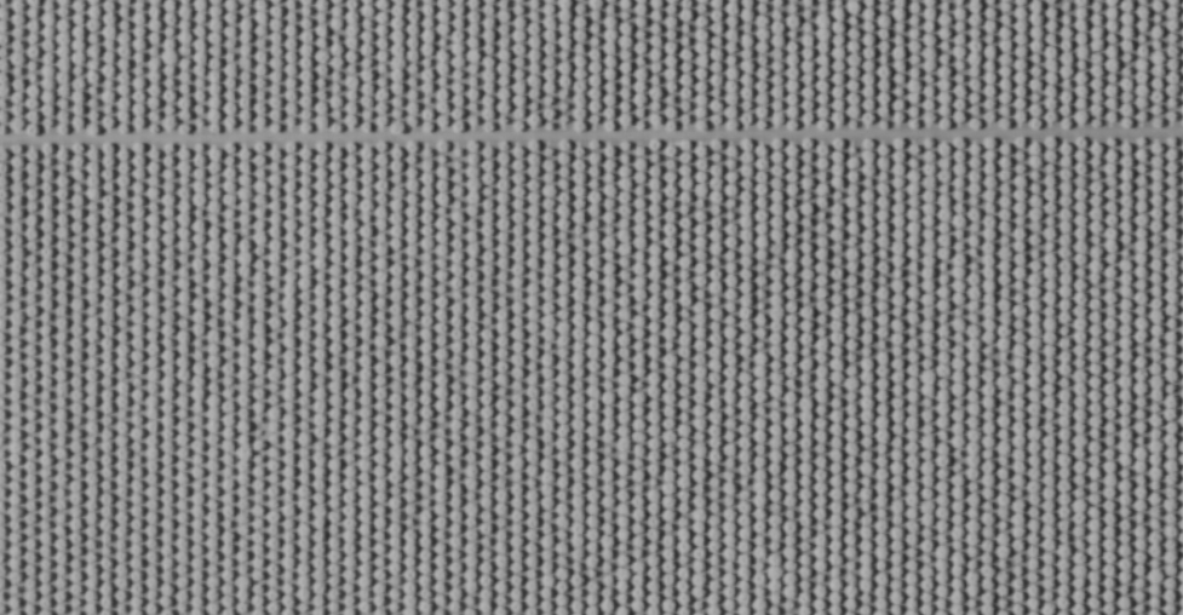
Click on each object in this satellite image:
road: (591, 197)

